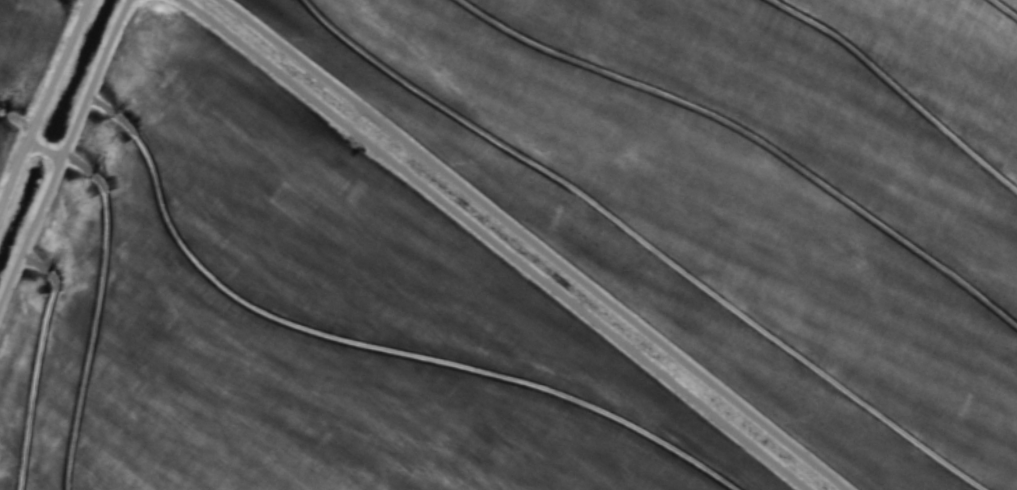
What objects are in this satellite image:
crop: (508, 245)

